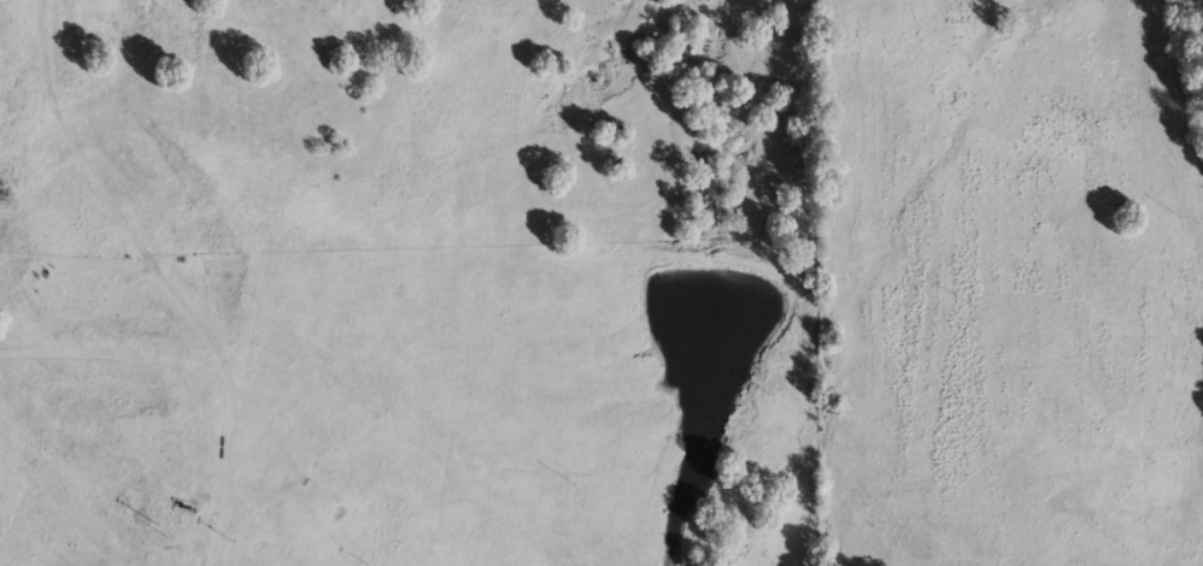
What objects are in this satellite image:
road: (224, 541)

